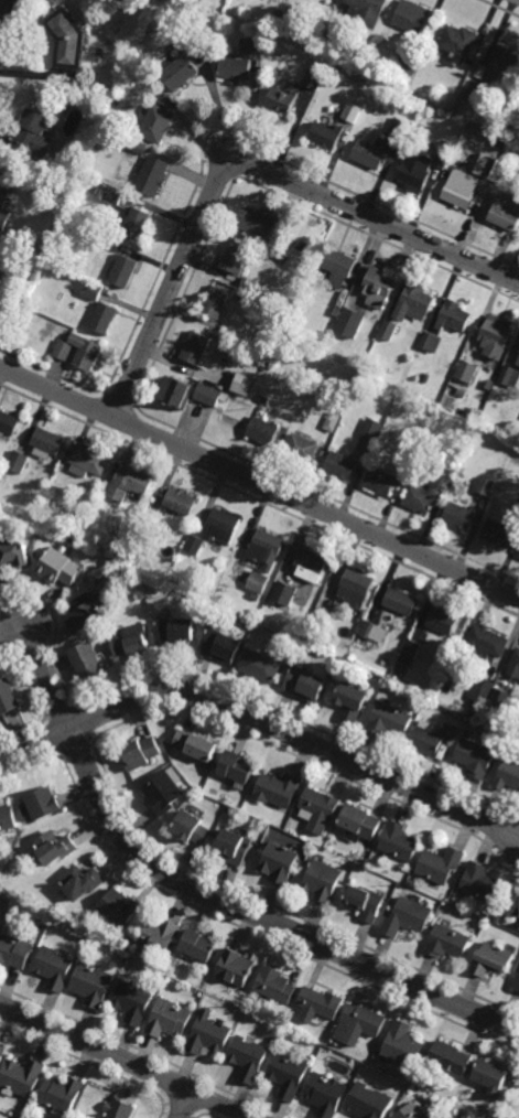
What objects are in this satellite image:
building: (9, 8)
building: (366, 11)
building: (411, 15)
building: (313, 28)
building: (65, 40)
building: (459, 44)
building: (249, 45)
building: (407, 63)
building: (317, 64)
building: (499, 65)
building: (235, 67)
building: (180, 72)
building: (312, 77)
building: (474, 88)
building: (116, 98)
building: (282, 99)
building: (352, 111)
building: (156, 122)
building: (399, 130)
building: (32, 135)
building: (325, 135)
building: (136, 144)
building: (447, 146)
building: (368, 154)
building: (441, 159)
building: (17, 163)
road: (246, 163)
building: (415, 170)
building: (152, 175)
building: (488, 178)
building: (459, 190)
building: (111, 193)
building: (3, 196)
building: (506, 211)
building: (258, 223)
building: (136, 224)
building: (277, 255)
building: (234, 257)
building: (337, 267)
building: (17, 271)
building: (122, 271)
building: (30, 275)
building: (249, 284)
building: (376, 288)
building: (93, 291)
building: (241, 294)
building: (271, 297)
building: (215, 303)
building: (413, 303)
building: (337, 311)
building: (453, 316)
building: (104, 318)
building: (43, 320)
building: (349, 323)
building: (388, 330)
building: (496, 336)
building: (431, 342)
building: (218, 344)
building: (194, 348)
building: (62, 351)
building: (84, 352)
building: (518, 357)
building: (518, 363)
building: (368, 367)
building: (466, 370)
building: (509, 376)
building: (424, 377)
building: (242, 384)
building: (175, 393)
building: (461, 393)
building: (208, 395)
building: (332, 422)
building: (8, 424)
building: (466, 426)
building: (372, 429)
building: (262, 431)
building: (45, 443)
building: (379, 447)
building: (301, 448)
building: (86, 461)
building: (17, 463)
building: (340, 465)
building: (131, 481)
building: (380, 482)
road: (259, 483)
building: (486, 486)
building: (430, 492)
building: (1, 501)
building: (179, 503)
building: (516, 512)
building: (459, 516)
building: (148, 522)
building: (221, 526)
building: (498, 534)
building: (193, 545)
building: (117, 555)
building: (13, 556)
building: (518, 557)
building: (262, 559)
building: (310, 566)
building: (57, 568)
building: (356, 589)
building: (283, 593)
building: (255, 596)
building: (400, 602)
building: (82, 612)
building: (442, 620)
building: (369, 628)
building: (175, 631)
building: (316, 634)
building: (486, 639)
building: (130, 641)
building: (309, 643)
building: (220, 645)
building: (411, 647)
building: (86, 659)
building: (406, 663)
building: (318, 664)
building: (261, 665)
building: (515, 665)
building: (305, 684)
building: (447, 688)
building: (480, 692)
building: (8, 697)
building: (350, 700)
building: (497, 702)
building: (389, 719)
road: (260, 722)
building: (432, 739)
building: (195, 744)
building: (140, 753)
building: (475, 756)
building: (235, 766)
building: (509, 774)
building: (277, 788)
building: (163, 793)
building: (41, 804)
building: (318, 808)
building: (7, 817)
building: (360, 821)
building: (193, 828)
building: (400, 841)
building: (234, 846)
building: (55, 847)
building: (279, 862)
building: (441, 864)
building: (323, 880)
building: (82, 882)
building: (480, 883)
road: (212, 895)
building: (366, 902)
building: (513, 905)
building: (119, 907)
building: (495, 907)
building: (408, 917)
building: (497, 920)
building: (159, 935)
building: (448, 943)
building: (199, 945)
building: (14, 953)
building: (493, 960)
building: (54, 968)
building: (236, 968)
building: (516, 982)
building: (275, 985)
building: (93, 986)
building: (133, 1002)
building: (321, 1004)
building: (169, 1020)
building: (360, 1024)
building: (209, 1035)
building: (404, 1045)
building: (2, 1051)
building: (248, 1058)
building: (452, 1058)
road: (127, 1060)
building: (288, 1076)
building: (21, 1077)
building: (491, 1077)
building: (61, 1095)
building: (326, 1095)
building: (369, 1103)
road: (184, 1104)
building: (24, 1108)
building: (119, 1109)
building: (411, 1112)

